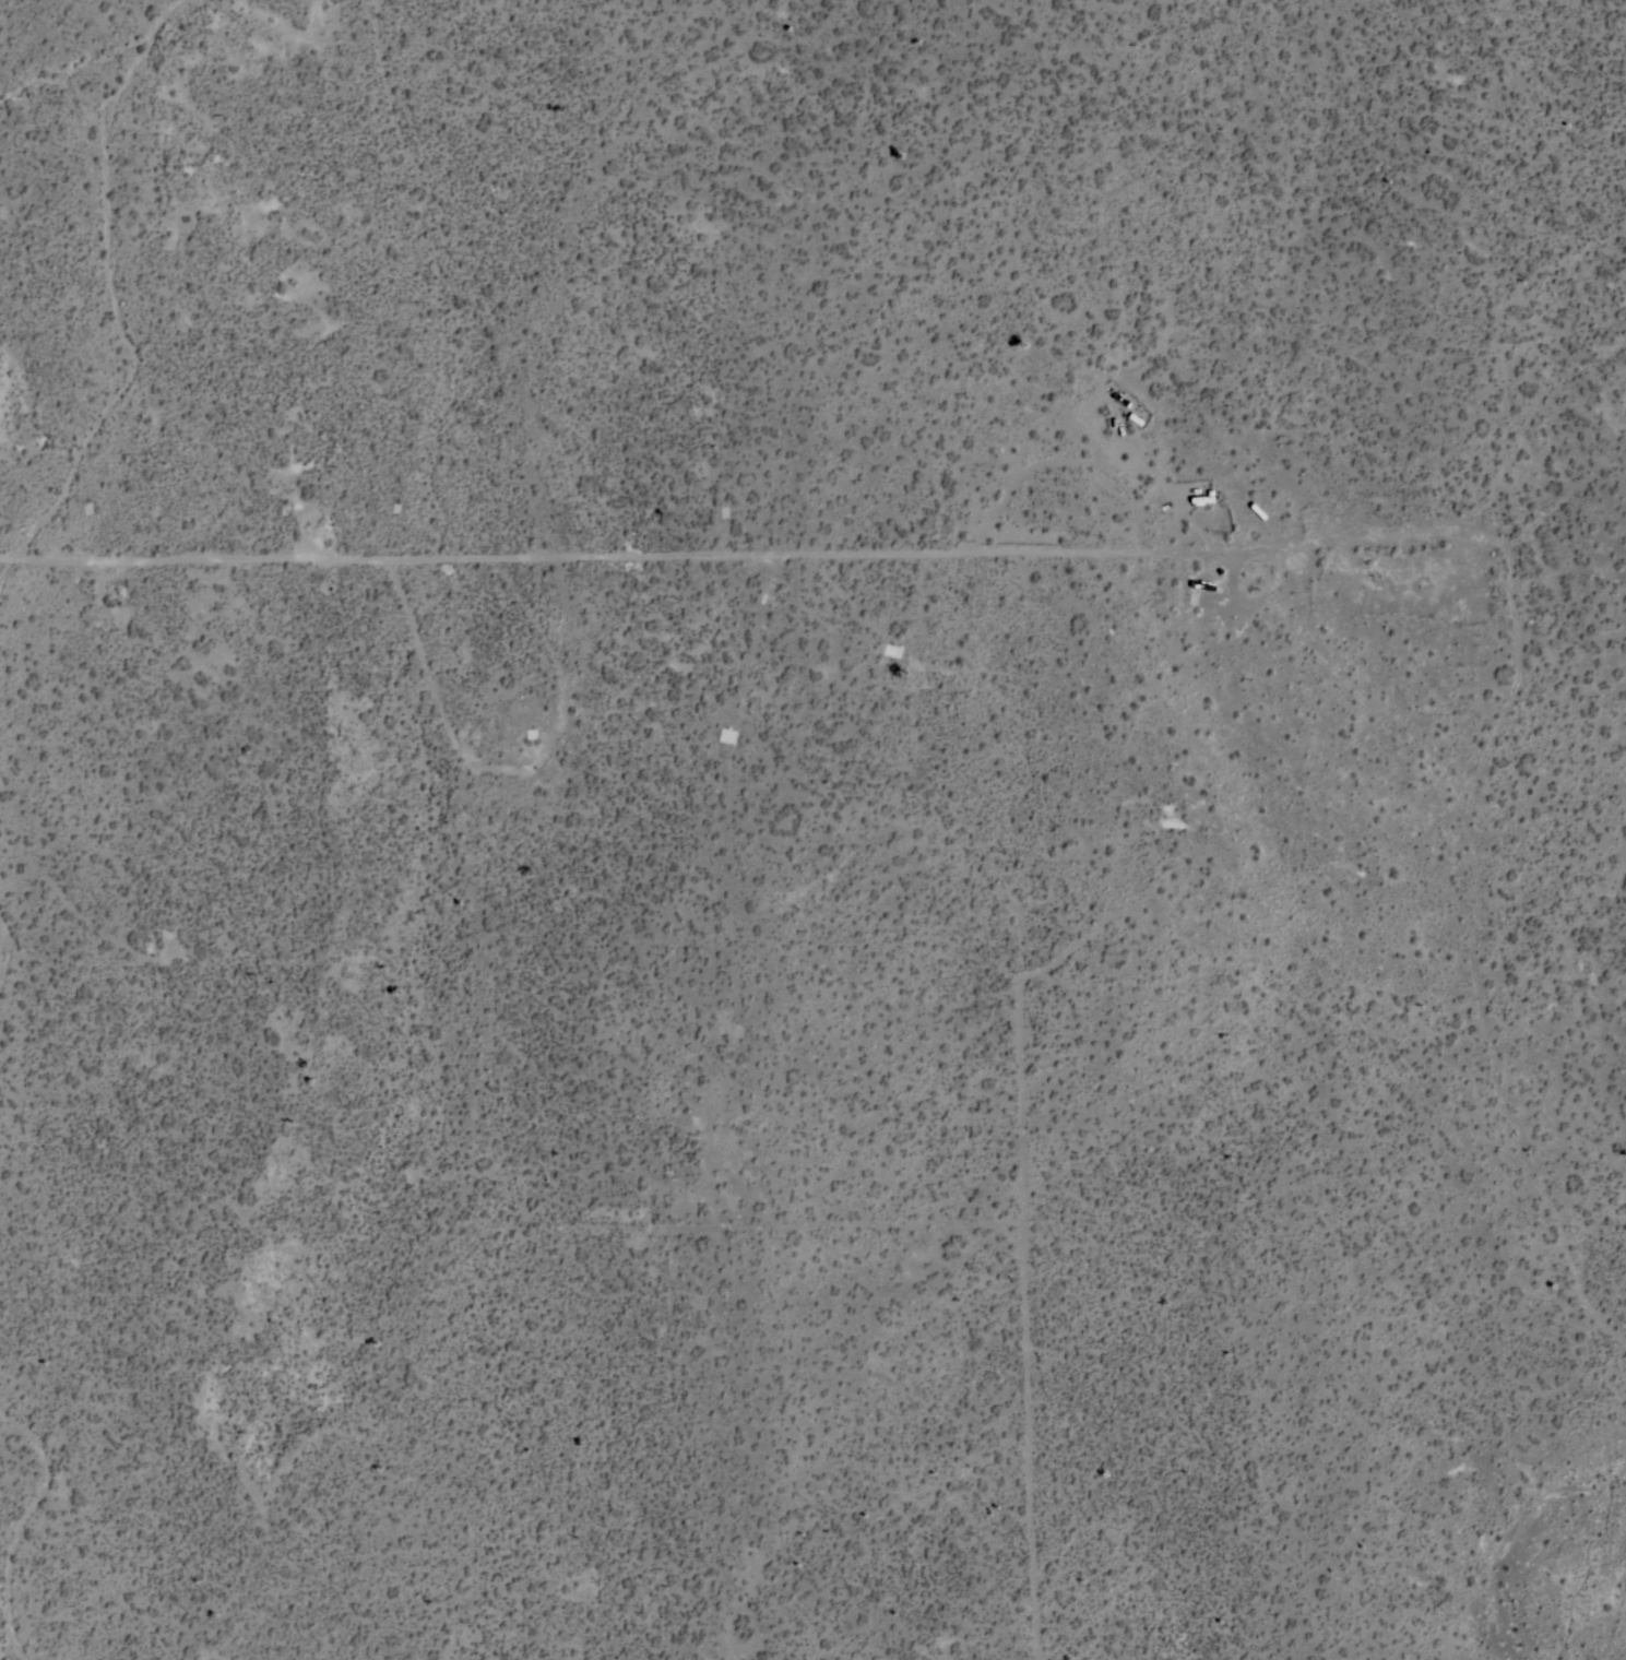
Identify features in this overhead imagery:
road: (632, 554)
road: (1021, 1352)

